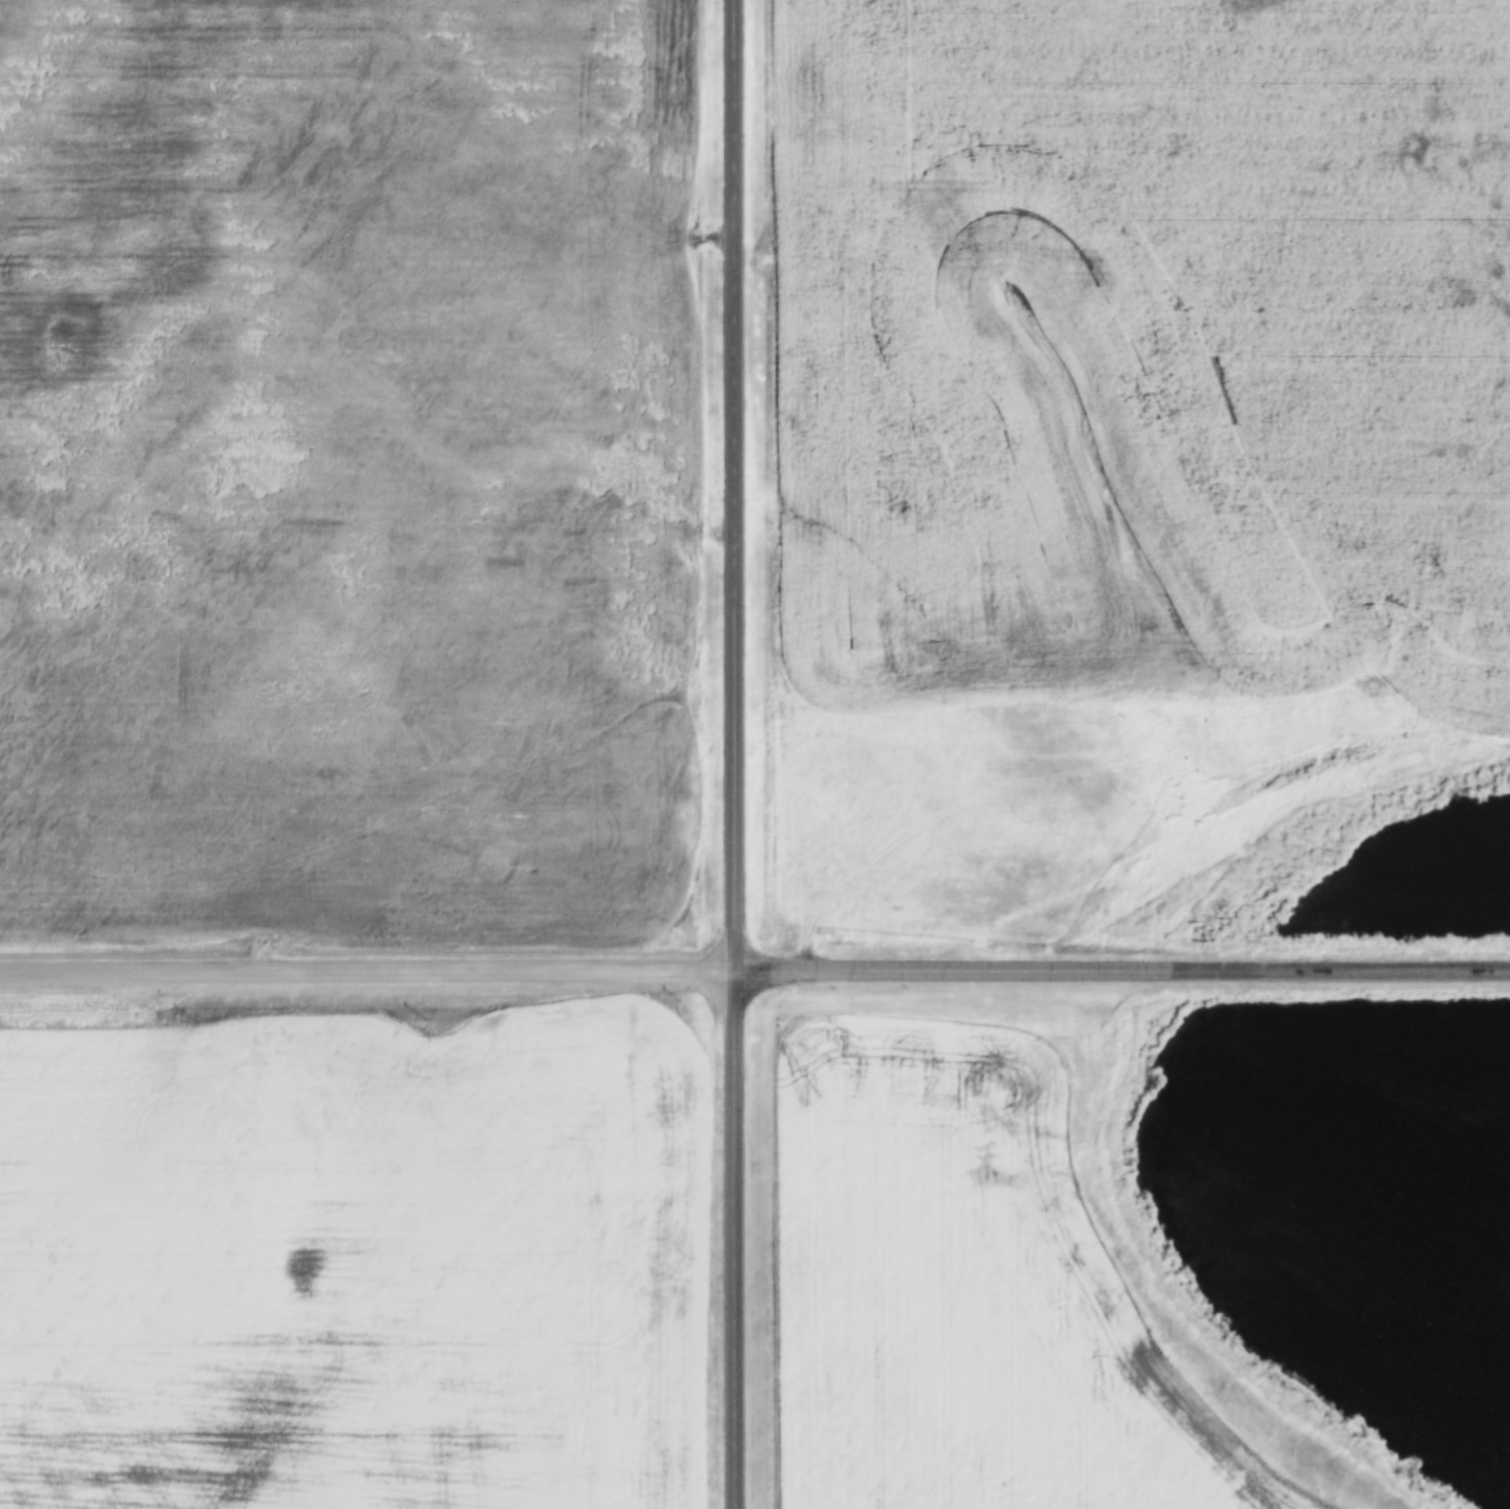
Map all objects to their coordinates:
road: (732, 754)
road: (1121, 967)
road: (366, 968)

